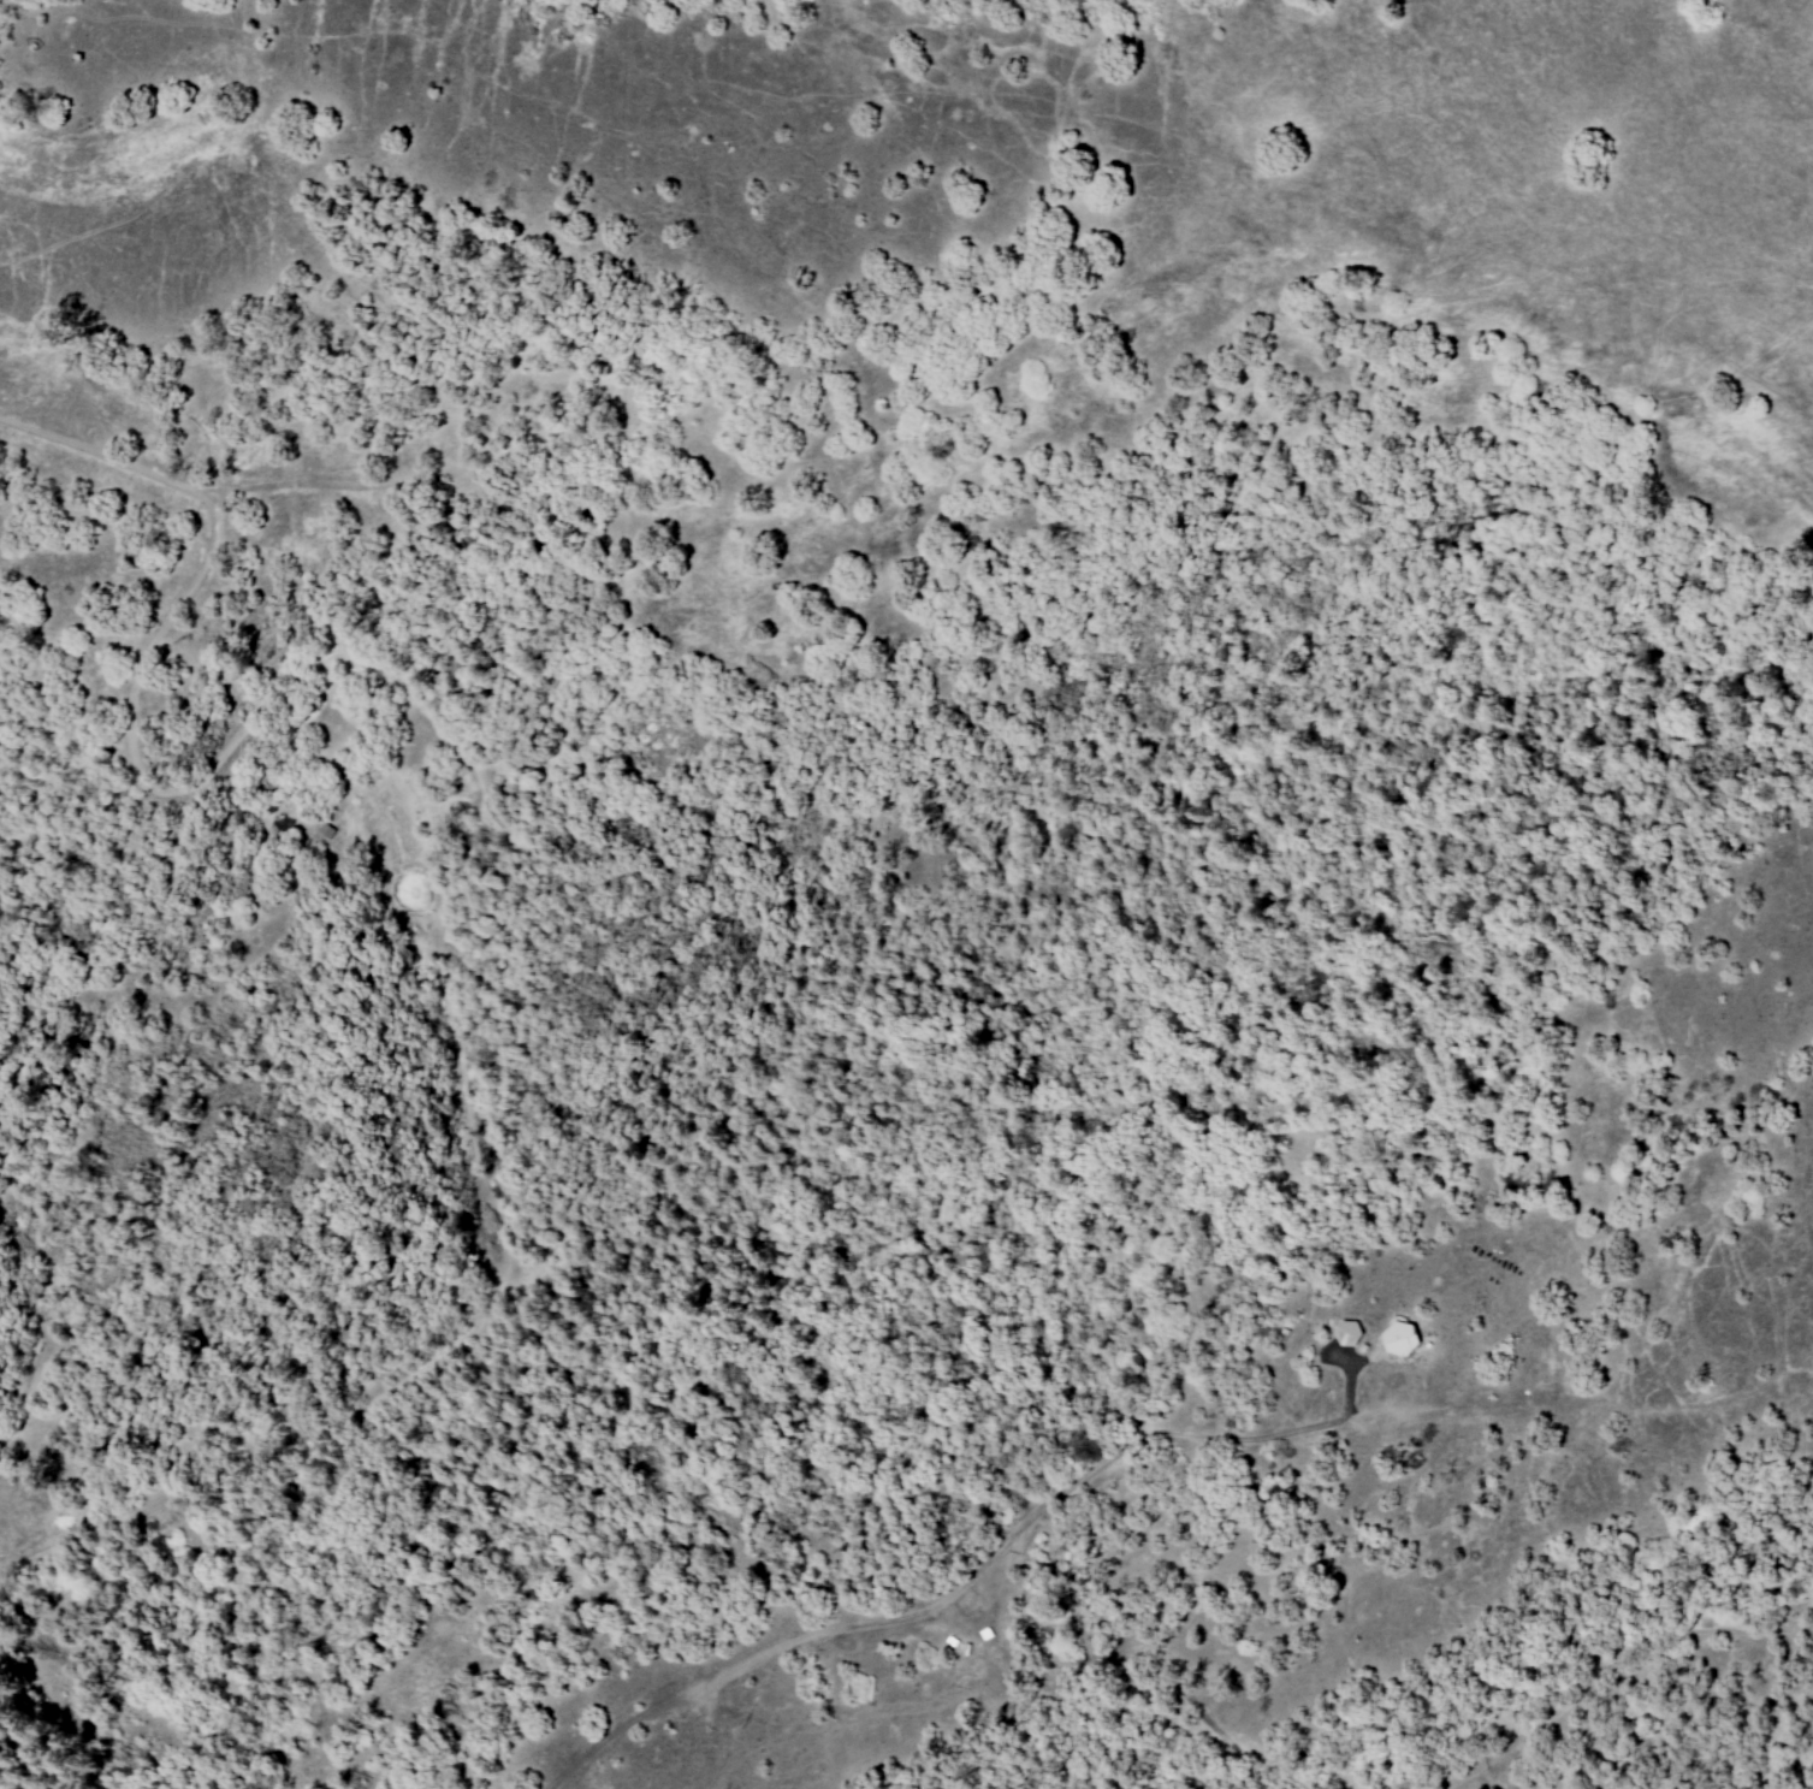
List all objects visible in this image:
building: (1345, 1334)
building: (1397, 1340)
road: (953, 1595)

